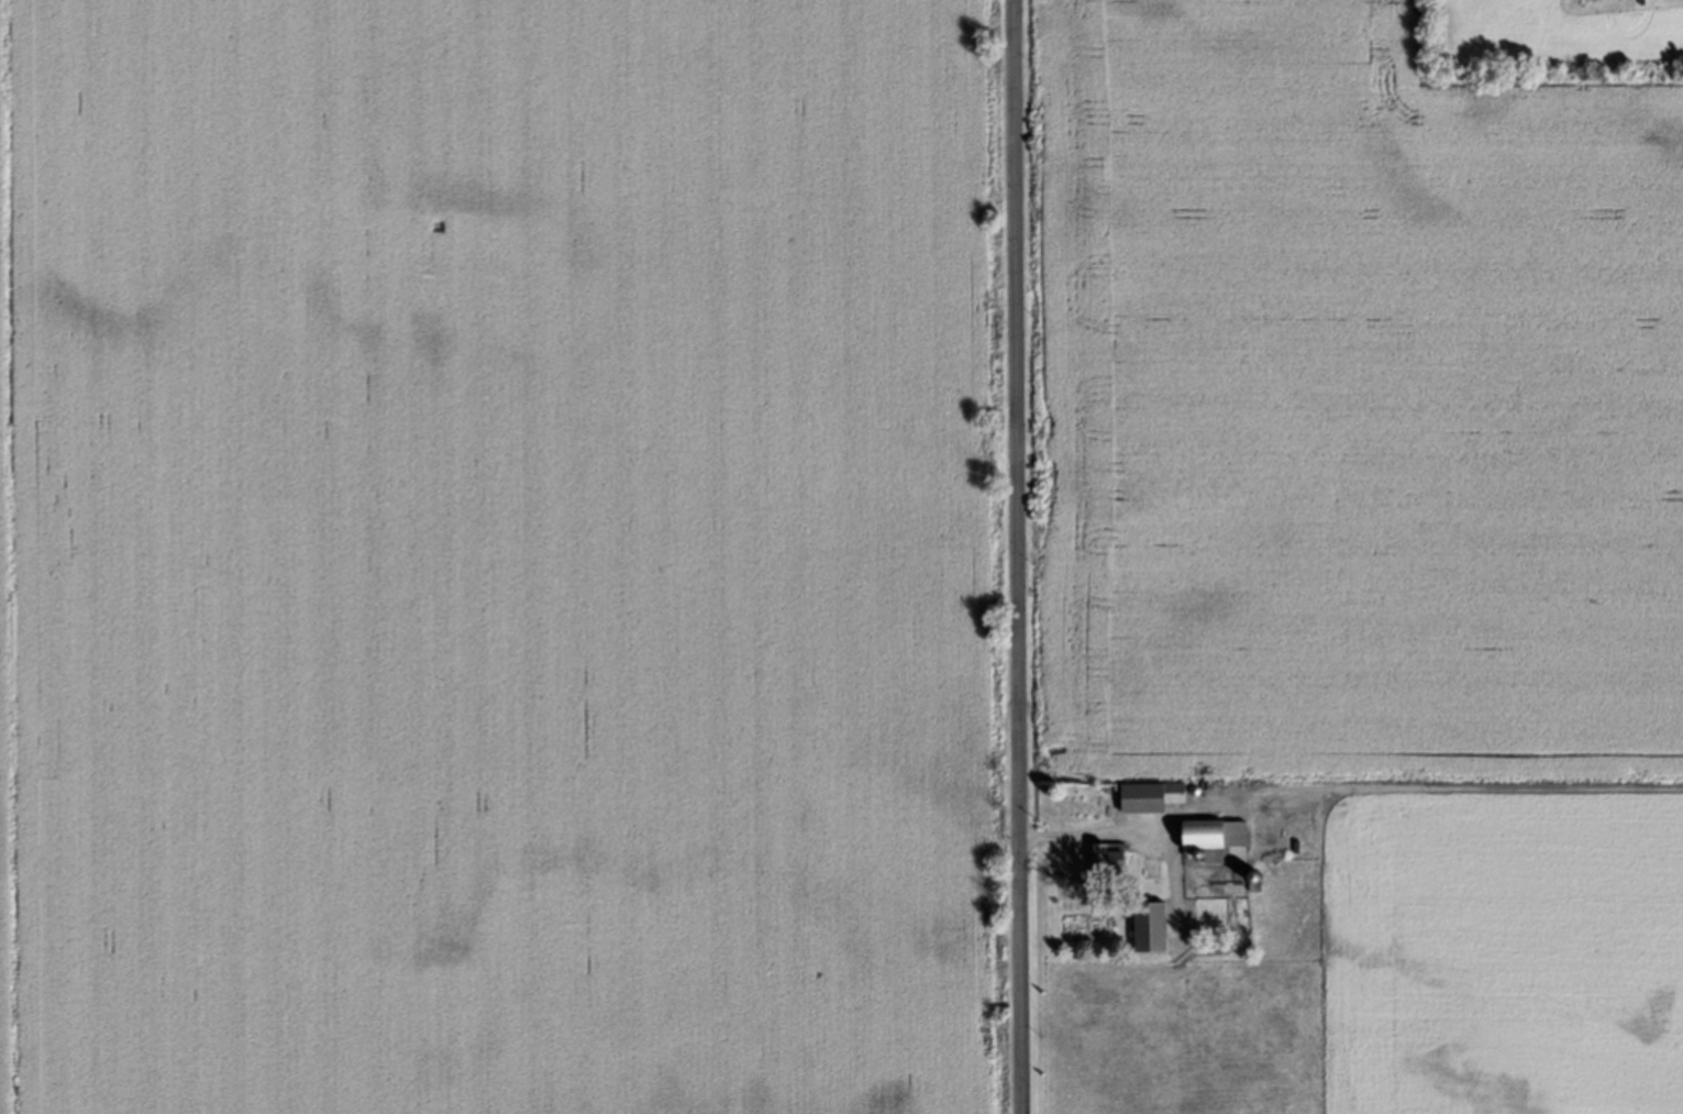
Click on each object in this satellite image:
road: (1016, 556)
building: (1158, 798)
road: (1141, 823)
building: (1219, 841)
building: (1114, 860)
building: (1158, 927)

